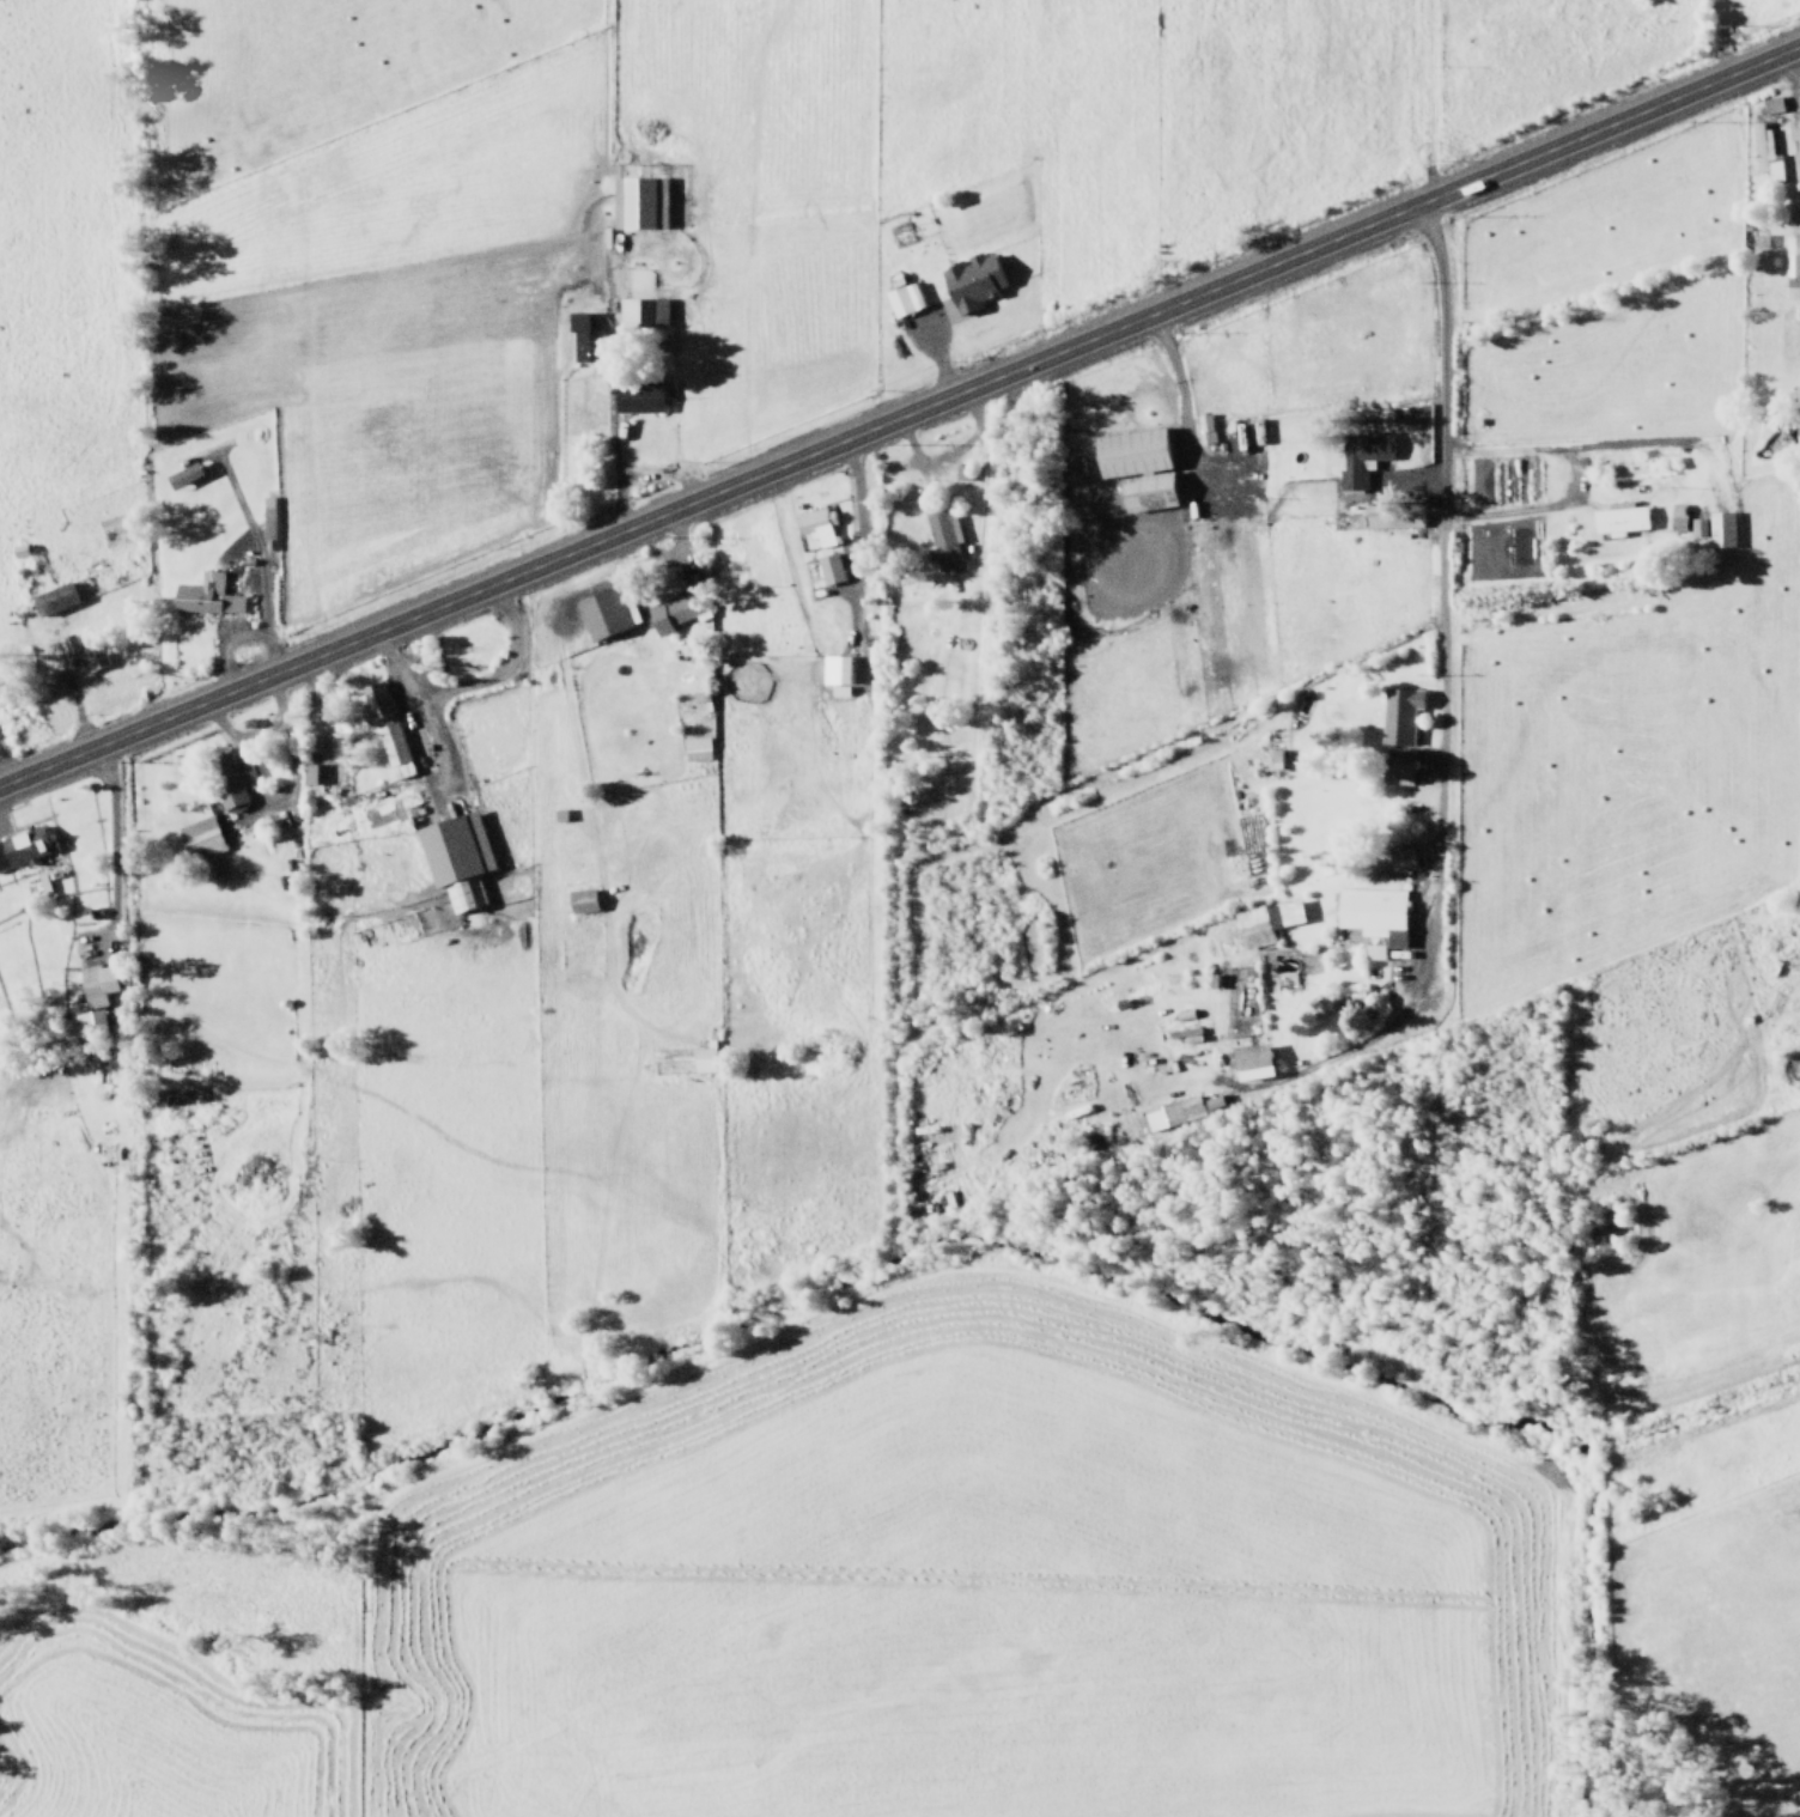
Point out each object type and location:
building: (1771, 104)
building: (1763, 151)
building: (637, 201)
building: (1792, 256)
building: (969, 280)
building: (901, 298)
building: (639, 310)
building: (580, 338)
building: (636, 396)
road: (900, 413)
building: (1204, 427)
building: (1360, 455)
building: (1136, 467)
building: (181, 474)
building: (1392, 516)
building: (1618, 517)
building: (815, 523)
building: (941, 530)
road: (1439, 555)
building: (828, 567)
building: (203, 595)
building: (51, 598)
building: (601, 612)
building: (673, 612)
building: (81, 654)
building: (834, 668)
building: (372, 700)
building: (699, 700)
building: (1397, 713)
building: (693, 748)
building: (391, 749)
building: (1399, 765)
building: (306, 772)
building: (230, 779)
building: (197, 835)
building: (23, 846)
building: (454, 857)
building: (1399, 857)
building: (579, 899)
building: (1372, 917)
building: (1265, 920)
building: (92, 997)
building: (1249, 1061)
building: (1170, 1111)

